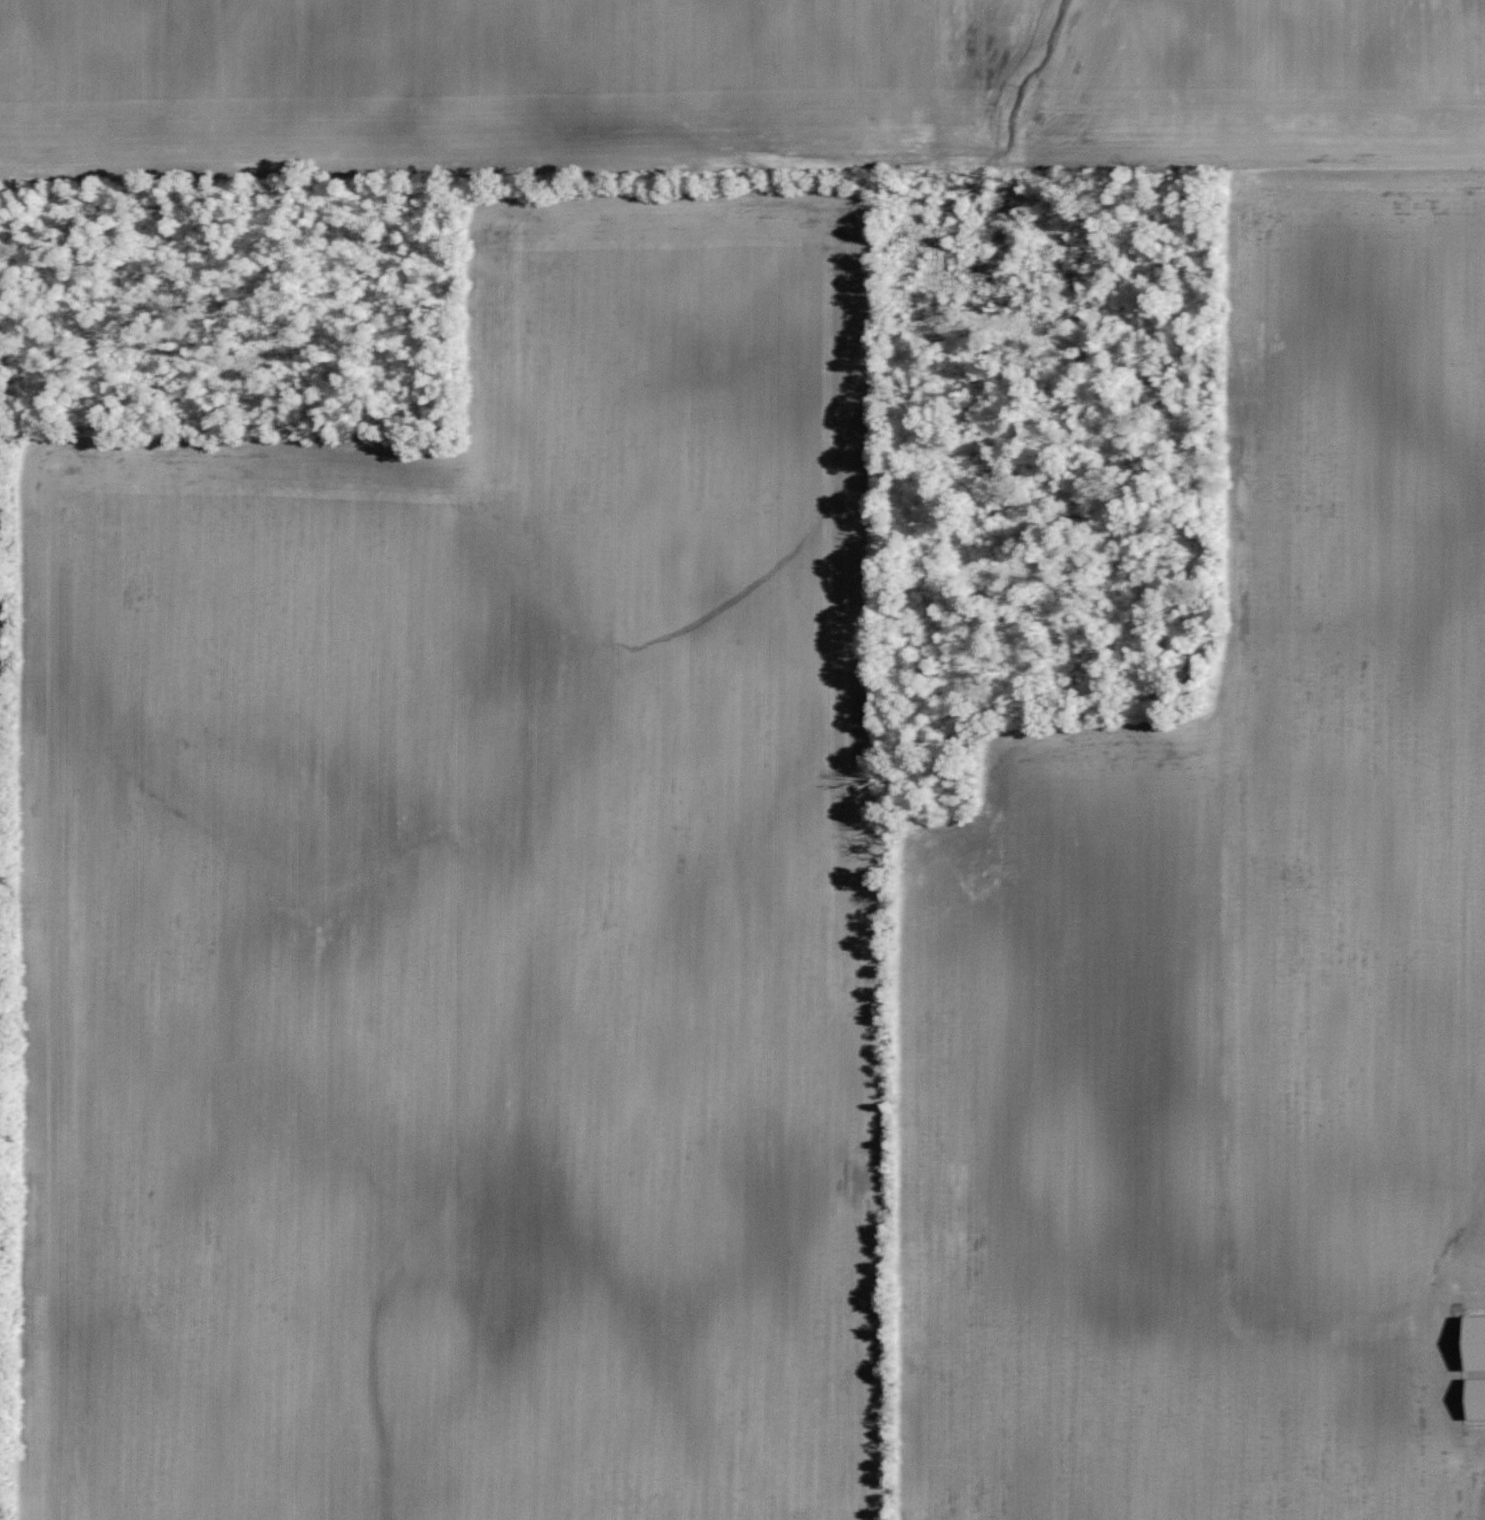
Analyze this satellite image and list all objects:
building: (1478, 1345)
building: (1480, 1399)

